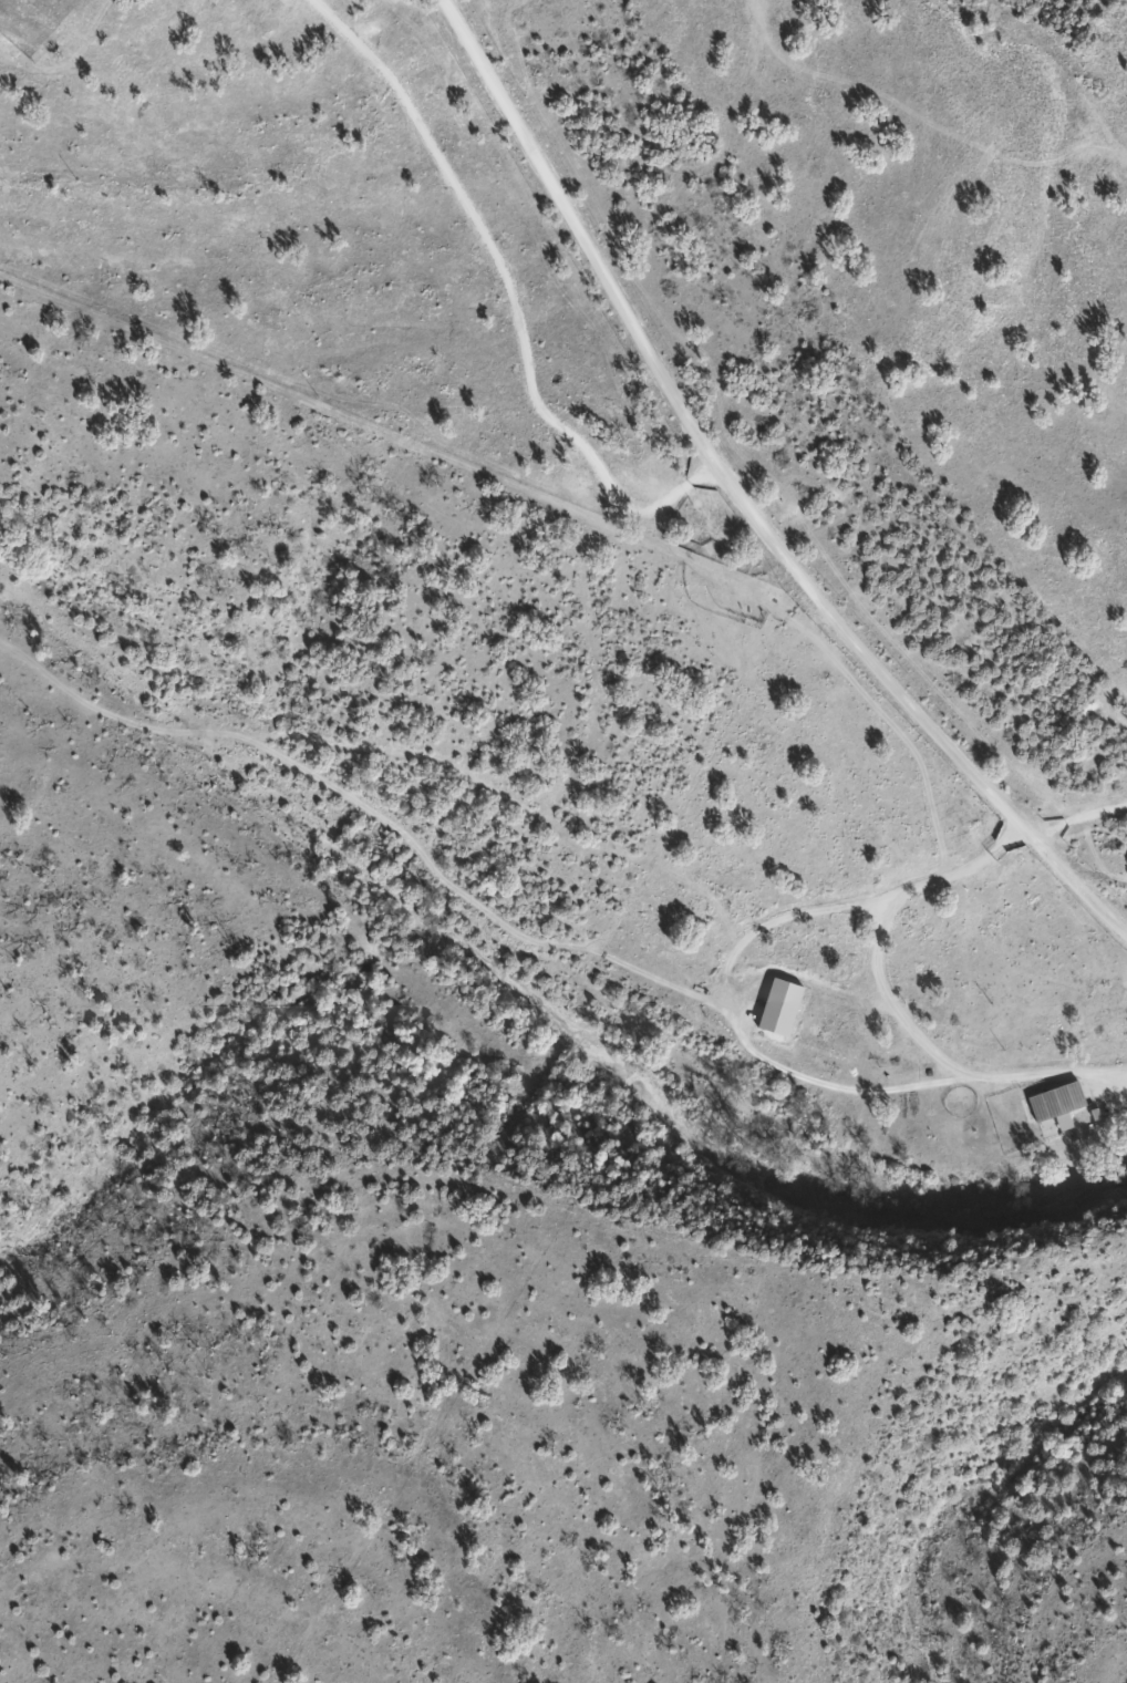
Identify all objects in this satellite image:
road: (716, 518)
building: (1058, 1108)

